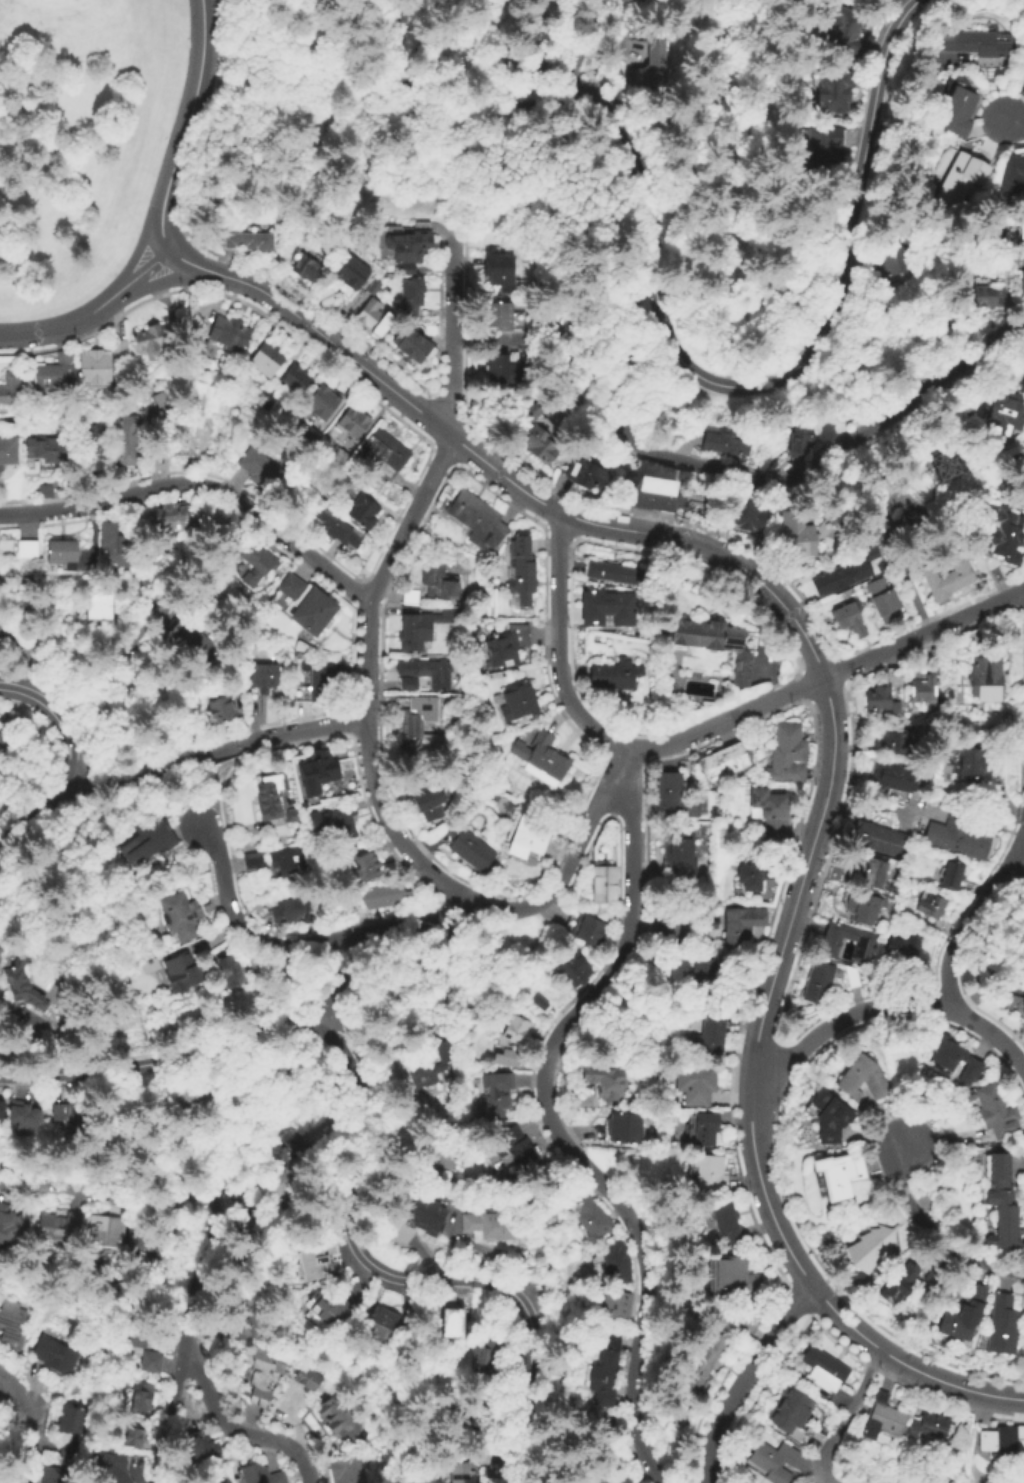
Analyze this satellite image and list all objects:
building: (845, 18)
road: (428, 29)
road: (396, 33)
road: (460, 40)
building: (981, 42)
road: (585, 48)
road: (406, 63)
building: (660, 66)
building: (532, 68)
road: (396, 72)
road: (343, 77)
building: (835, 82)
building: (1019, 88)
park: (285, 102)
road: (190, 108)
road: (576, 108)
road: (210, 110)
building: (965, 111)
road: (1016, 120)
park: (78, 138)
building: (823, 139)
building: (965, 177)
building: (1011, 179)
building: (1008, 220)
road: (182, 224)
road: (161, 232)
building: (250, 241)
building: (409, 243)
road: (132, 252)
building: (892, 261)
road: (187, 262)
building: (305, 264)
building: (500, 268)
road: (138, 271)
building: (351, 271)
road: (159, 280)
building: (1020, 280)
road: (836, 289)
building: (412, 292)
building: (986, 294)
road: (233, 298)
road: (313, 304)
building: (370, 315)
building: (503, 316)
road: (94, 322)
road: (59, 325)
building: (432, 329)
building: (230, 331)
building: (154, 334)
road: (531, 340)
building: (576, 340)
building: (118, 349)
building: (413, 350)
building: (267, 358)
road: (184, 360)
building: (94, 367)
building: (558, 368)
building: (506, 370)
building: (54, 372)
building: (295, 379)
building: (10, 388)
building: (268, 400)
building: (323, 402)
building: (167, 406)
road: (446, 406)
building: (530, 410)
building: (1002, 414)
building: (352, 420)
building: (796, 437)
building: (130, 438)
building: (560, 439)
building: (93, 440)
building: (722, 442)
building: (540, 443)
building: (50, 447)
building: (160, 450)
building: (384, 451)
building: (10, 452)
road: (445, 454)
building: (945, 463)
building: (257, 465)
building: (586, 473)
building: (1019, 478)
road: (757, 479)
road: (201, 484)
building: (653, 492)
road: (500, 497)
building: (364, 508)
building: (747, 514)
building: (169, 517)
road: (665, 517)
building: (477, 519)
building: (208, 521)
building: (337, 525)
road: (560, 533)
building: (1002, 535)
building: (796, 536)
building: (116, 543)
building: (29, 547)
building: (66, 552)
building: (871, 554)
building: (254, 561)
building: (521, 569)
road: (708, 571)
building: (615, 572)
building: (947, 574)
building: (839, 577)
building: (438, 578)
road: (377, 585)
road: (909, 585)
building: (884, 600)
building: (309, 605)
building: (604, 607)
building: (98, 610)
building: (850, 620)
building: (423, 623)
building: (191, 639)
building: (716, 642)
building: (505, 644)
road: (557, 645)
building: (934, 654)
road: (840, 662)
building: (426, 669)
building: (614, 672)
building: (263, 675)
road: (826, 676)
building: (984, 677)
building: (316, 680)
road: (807, 686)
building: (922, 690)
building: (877, 699)
building: (514, 700)
building: (222, 707)
road: (62, 711)
road: (831, 714)
building: (420, 721)
road: (313, 727)
building: (4, 733)
building: (893, 741)
building: (785, 754)
building: (543, 758)
building: (722, 760)
building: (965, 762)
road: (71, 768)
building: (317, 768)
road: (160, 770)
building: (894, 776)
road: (224, 786)
building: (267, 796)
building: (428, 799)
building: (672, 799)
building: (770, 810)
building: (292, 812)
building: (340, 819)
building: (700, 822)
road: (586, 829)
building: (531, 833)
building: (146, 837)
building: (881, 838)
building: (956, 838)
building: (470, 846)
building: (681, 856)
building: (254, 858)
building: (291, 862)
building: (364, 864)
building: (876, 872)
building: (752, 877)
building: (950, 877)
building: (604, 880)
building: (386, 892)
road: (226, 898)
building: (862, 906)
building: (929, 906)
building: (291, 908)
road: (508, 908)
building: (605, 909)
building: (182, 912)
road: (418, 921)
building: (671, 925)
building: (741, 926)
road: (971, 926)
building: (586, 927)
road: (318, 941)
building: (902, 947)
building: (863, 948)
building: (574, 968)
building: (229, 970)
building: (293, 971)
building: (184, 974)
building: (702, 975)
building: (823, 979)
road: (340, 983)
building: (26, 989)
road: (750, 995)
building: (538, 1002)
building: (1014, 1006)
road: (888, 1007)
building: (516, 1029)
building: (706, 1033)
road: (37, 1045)
building: (508, 1054)
building: (954, 1056)
building: (422, 1063)
building: (861, 1078)
road: (780, 1081)
building: (606, 1082)
building: (695, 1084)
building: (495, 1090)
building: (191, 1099)
building: (996, 1111)
building: (2, 1112)
building: (827, 1118)
road: (550, 1120)
building: (27, 1122)
building: (67, 1122)
building: (624, 1131)
building: (704, 1131)
building: (307, 1137)
road: (243, 1138)
building: (515, 1145)
road: (366, 1148)
building: (708, 1174)
building: (839, 1175)
road: (104, 1195)
building: (271, 1203)
building: (1001, 1203)
building: (429, 1208)
building: (592, 1217)
building: (725, 1225)
building: (490, 1228)
building: (13, 1229)
building: (60, 1230)
road: (934, 1232)
building: (104, 1233)
building: (149, 1241)
building: (247, 1246)
building: (872, 1247)
building: (322, 1263)
road: (194, 1265)
building: (619, 1266)
building: (725, 1280)
building: (933, 1280)
road: (792, 1287)
road: (841, 1288)
building: (892, 1293)
building: (612, 1304)
building: (323, 1310)
building: (962, 1315)
building: (450, 1320)
building: (1003, 1323)
building: (12, 1326)
building: (385, 1327)
building: (227, 1328)
road: (769, 1341)
building: (139, 1350)
building: (487, 1351)
building: (53, 1357)
building: (699, 1361)
road: (876, 1367)
building: (602, 1369)
building: (823, 1370)
building: (261, 1376)
building: (306, 1380)
road: (999, 1395)
building: (141, 1398)
road: (948, 1403)
building: (467, 1413)
building: (337, 1415)
building: (789, 1416)
road: (847, 1416)
building: (882, 1417)
road: (165, 1419)
road: (27, 1420)
building: (70, 1425)
building: (931, 1426)
road: (235, 1429)
building: (131, 1438)
building: (999, 1440)
road: (712, 1441)
building: (66, 1446)
building: (197, 1449)
building: (484, 1457)
building: (771, 1458)
building: (109, 1467)
building: (344, 1470)
building: (50, 1474)
building: (460, 1474)
building: (257, 1475)
building: (615, 1477)

